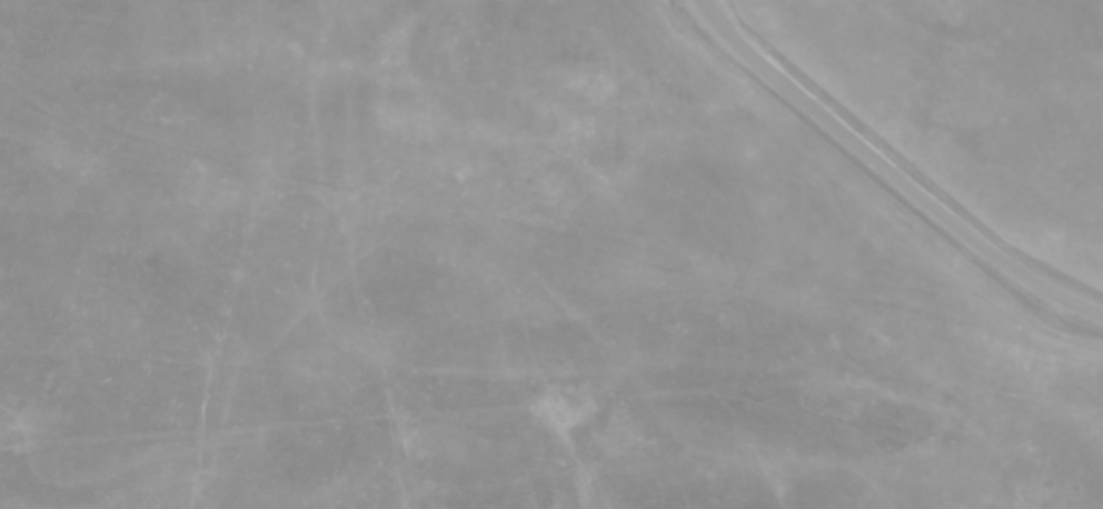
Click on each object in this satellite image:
road: (892, 168)

